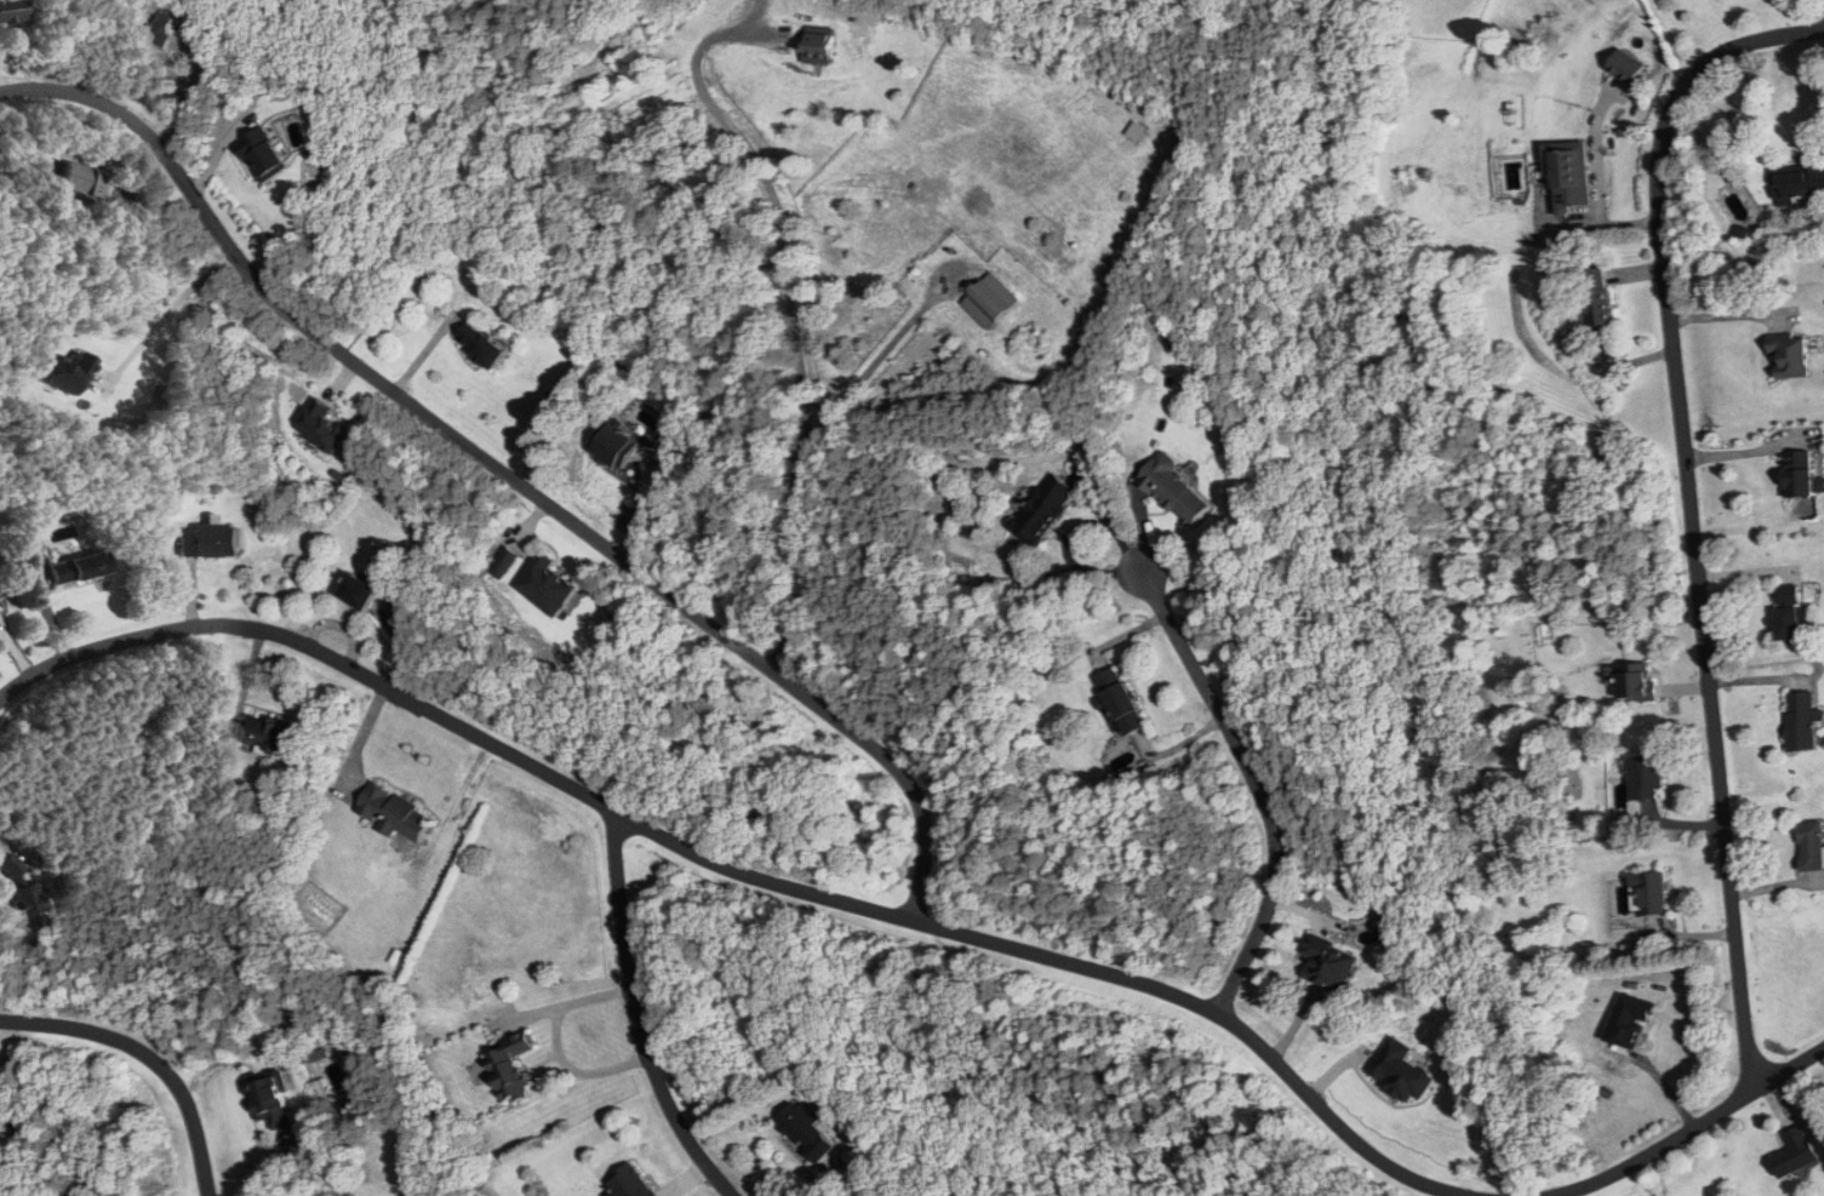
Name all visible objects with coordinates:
building: (8, 10)
building: (153, 25)
building: (819, 45)
building: (1626, 67)
building: (262, 155)
building: (1569, 181)
building: (80, 182)
building: (1799, 184)
building: (1595, 296)
building: (990, 301)
road: (793, 326)
building: (481, 344)
building: (1791, 356)
road: (876, 359)
building: (321, 428)
building: (616, 447)
road: (502, 471)
building: (1801, 475)
building: (1174, 491)
road: (1689, 508)
building: (1043, 510)
building: (206, 542)
building: (75, 570)
building: (543, 584)
building: (358, 593)
building: (1791, 613)
road: (311, 648)
building: (1636, 682)
building: (1120, 700)
building: (1802, 722)
building: (268, 731)
building: (1648, 779)
road: (1254, 783)
building: (393, 809)
building: (1813, 847)
building: (1651, 893)
road: (1062, 960)
building: (1328, 962)
road: (627, 1014)
road: (545, 1048)
road: (148, 1057)
building: (510, 1064)
building: (1401, 1072)
building: (268, 1099)
building: (805, 1128)
road: (1691, 1129)
building: (1795, 1151)
road: (1711, 1169)
building: (630, 1181)

